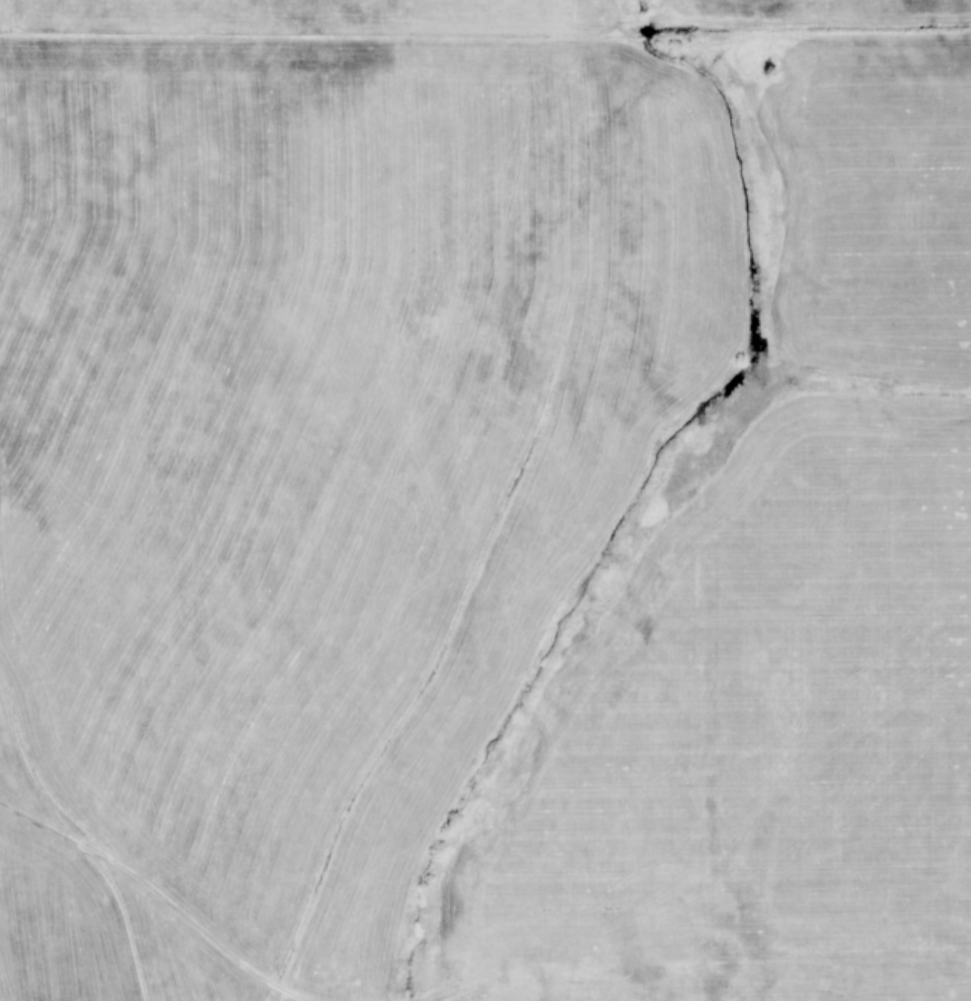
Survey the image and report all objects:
road: (339, 949)

